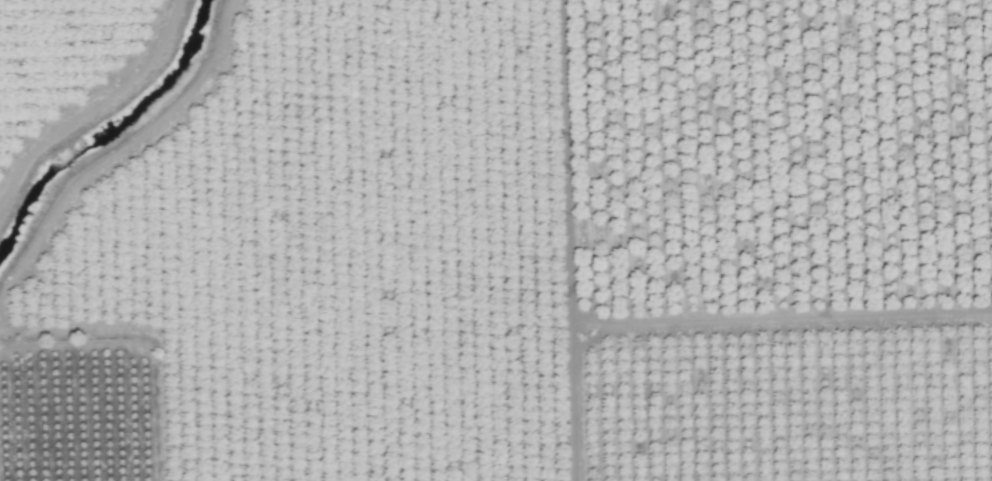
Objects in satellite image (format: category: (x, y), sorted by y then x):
road: (93, 105)
road: (120, 151)

